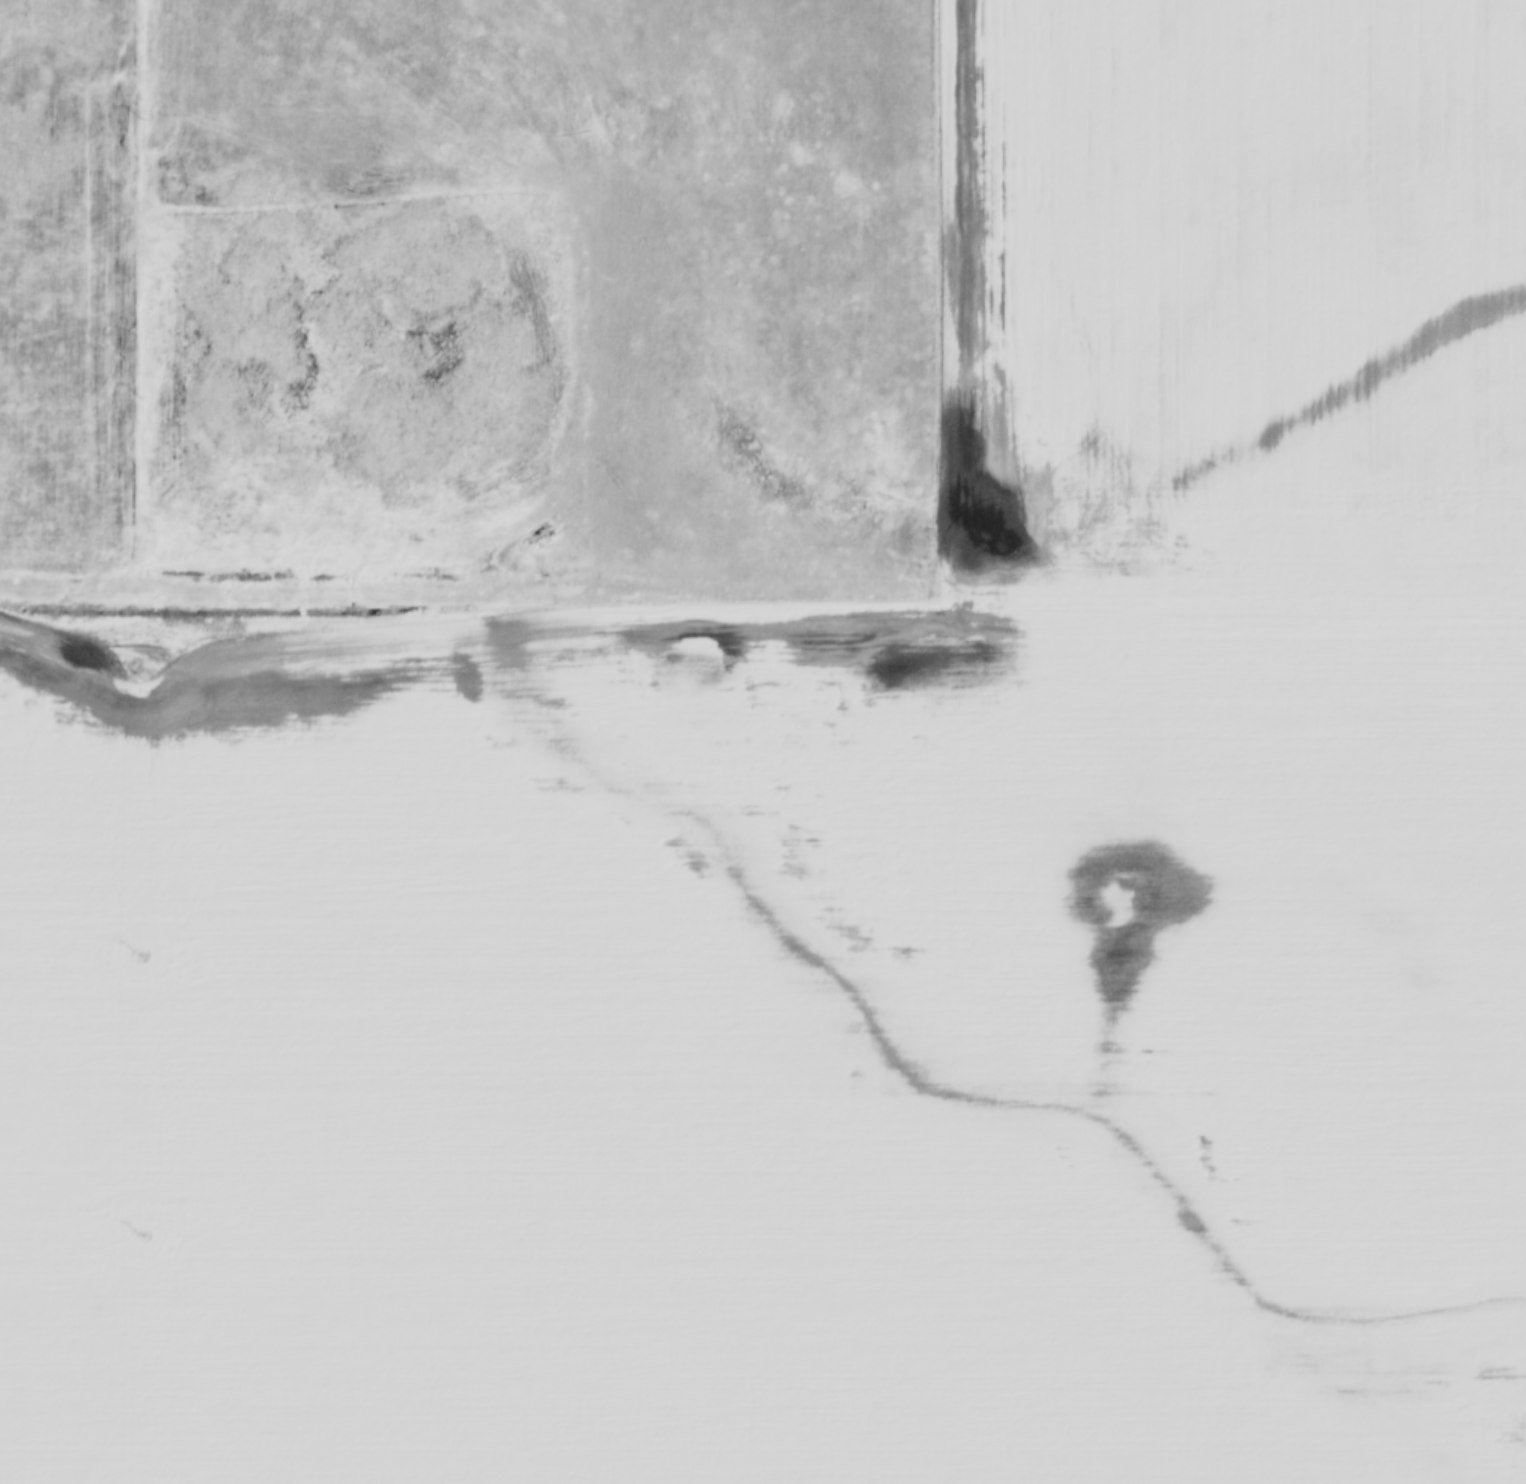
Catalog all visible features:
road: (758, 589)

